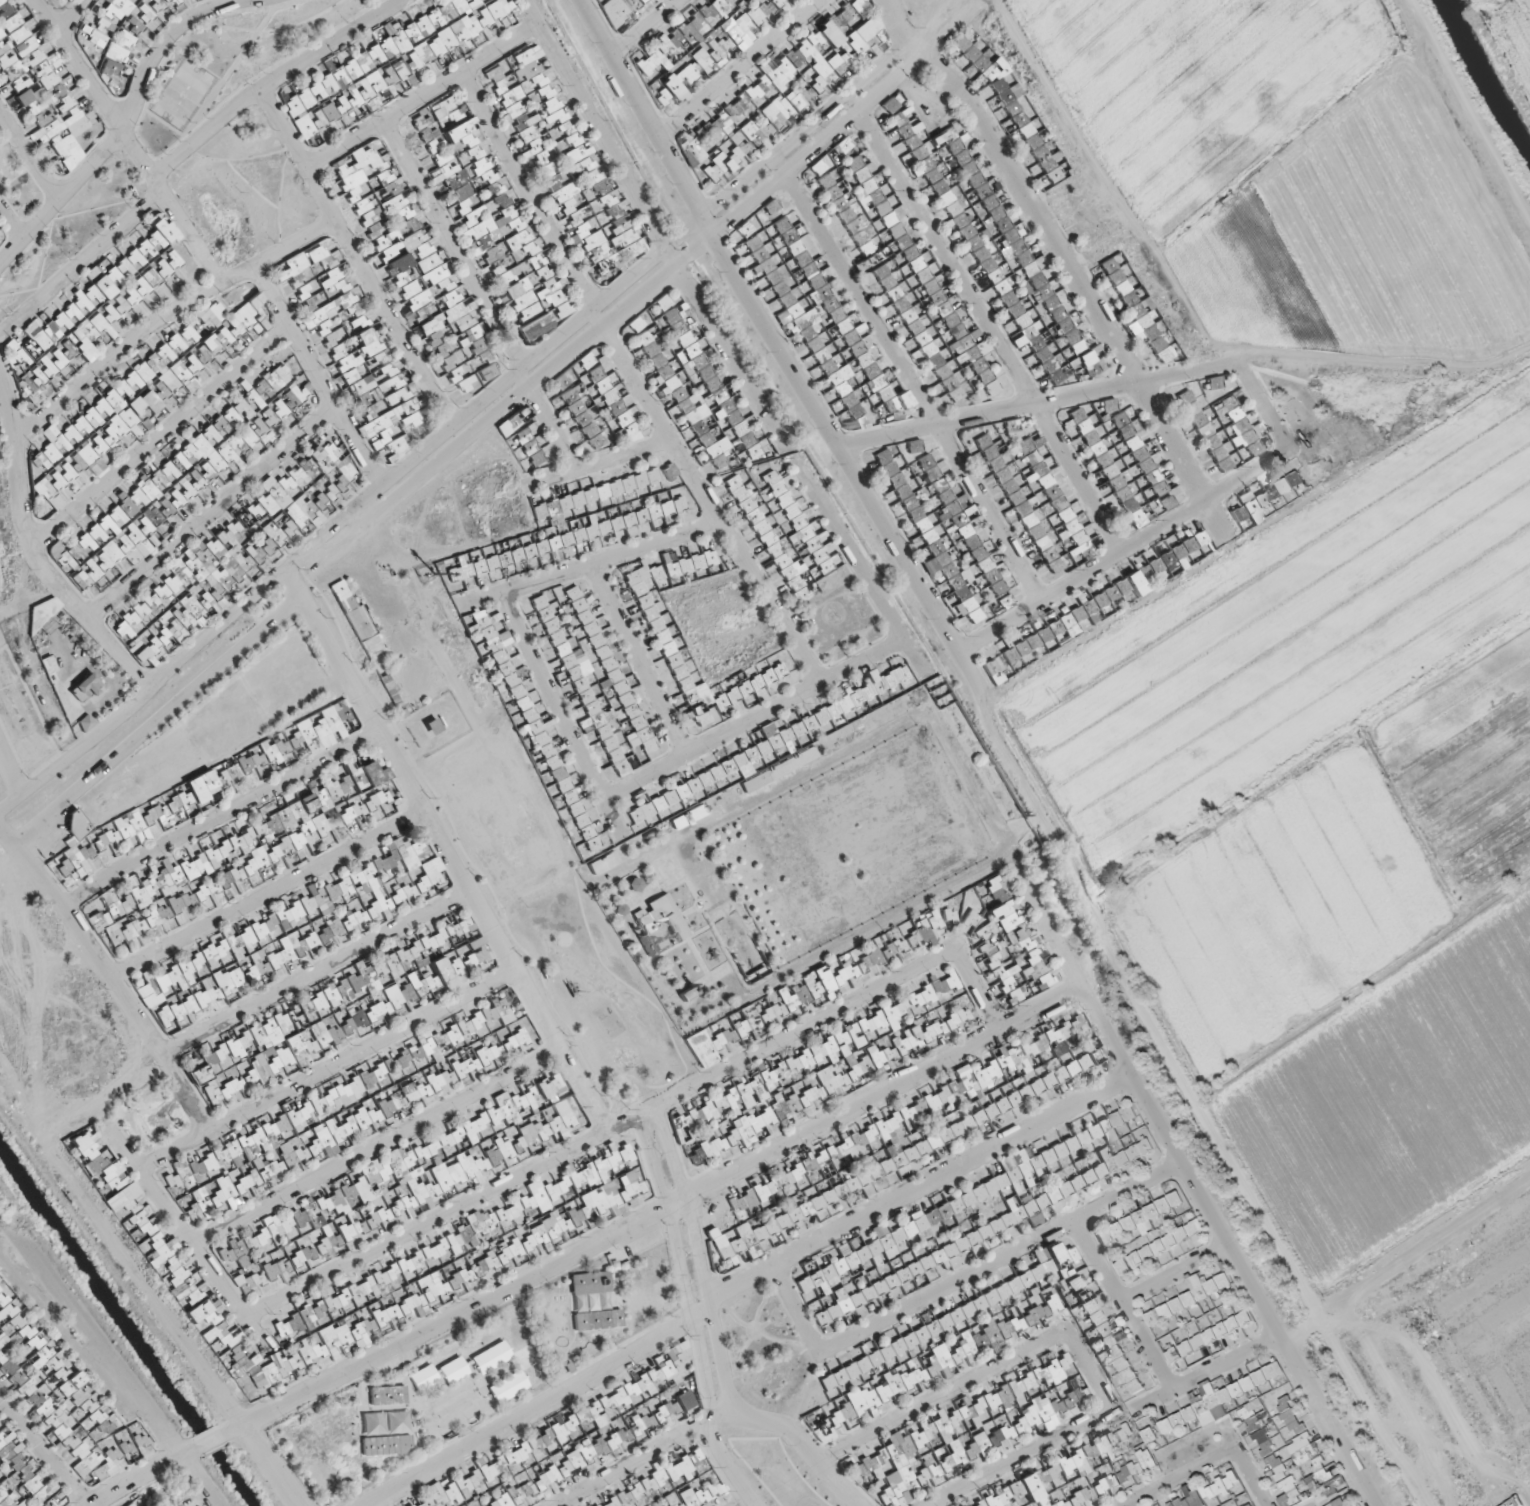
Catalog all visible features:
road: (72, 17)
road: (934, 22)
road: (644, 27)
road: (900, 29)
road: (933, 46)
park: (233, 63)
road: (742, 68)
road: (271, 81)
road: (420, 96)
road: (643, 110)
road: (1467, 115)
road: (126, 117)
road: (595, 126)
road: (130, 141)
road: (1107, 186)
road: (529, 191)
building: (871, 235)
road: (452, 246)
road: (356, 258)
road: (80, 264)
road: (628, 285)
road: (1081, 291)
road: (635, 297)
road: (166, 319)
road: (987, 324)
road: (727, 348)
road: (319, 377)
road: (909, 380)
road: (1034, 406)
road: (1262, 411)
road: (549, 422)
road: (162, 435)
road: (844, 459)
road: (601, 464)
road: (705, 500)
road: (212, 514)
building: (1069, 523)
road: (1118, 554)
road: (591, 566)
road: (863, 574)
building: (960, 588)
road: (373, 606)
road: (640, 661)
road: (174, 670)
road: (561, 716)
road: (753, 721)
road: (432, 749)
road: (219, 814)
crop: (1335, 824)
road: (1020, 829)
road: (445, 850)
road: (696, 857)
road: (268, 895)
road: (520, 921)
road: (315, 975)
parking lot: (581, 975)
road: (973, 990)
road: (564, 998)
road: (325, 1069)
road: (1195, 1106)
road: (596, 1138)
road: (377, 1149)
road: (910, 1192)
road: (1194, 1192)
road: (662, 1209)
road: (701, 1256)
road: (996, 1259)
road: (1174, 1277)
road: (791, 1303)
road: (1122, 1306)
road: (692, 1316)
road: (1065, 1338)
road: (1206, 1374)
road: (1392, 1394)
road: (1443, 1408)
road: (528, 1410)
road: (1426, 1441)
road: (804, 1448)
road: (645, 1455)
road: (1243, 1468)
road: (1182, 1478)
road: (1529, 1496)

